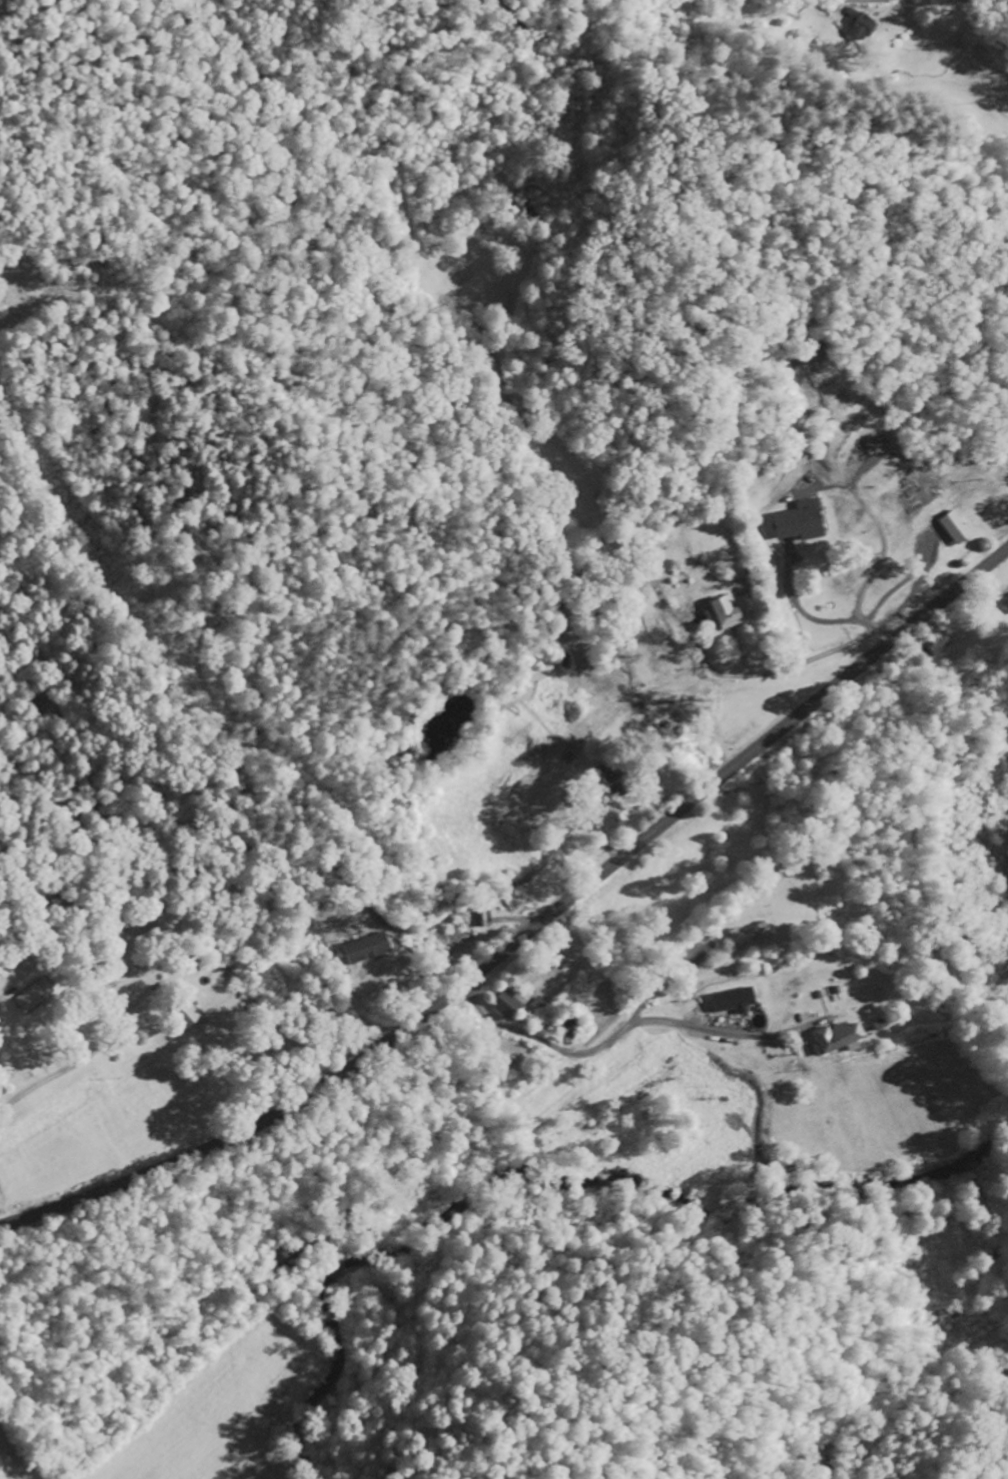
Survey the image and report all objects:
road: (876, 1)
building: (858, 22)
road: (982, 23)
park: (31, 303)
building: (801, 521)
building: (955, 527)
road: (472, 530)
road: (243, 752)
road: (915, 779)
road: (521, 803)
road: (190, 899)
road: (530, 930)
building: (747, 933)
building: (366, 947)
building: (34, 996)
building: (733, 1000)
building: (507, 1005)
building: (837, 1037)
road: (610, 1039)
road: (58, 1052)
road: (160, 1421)

